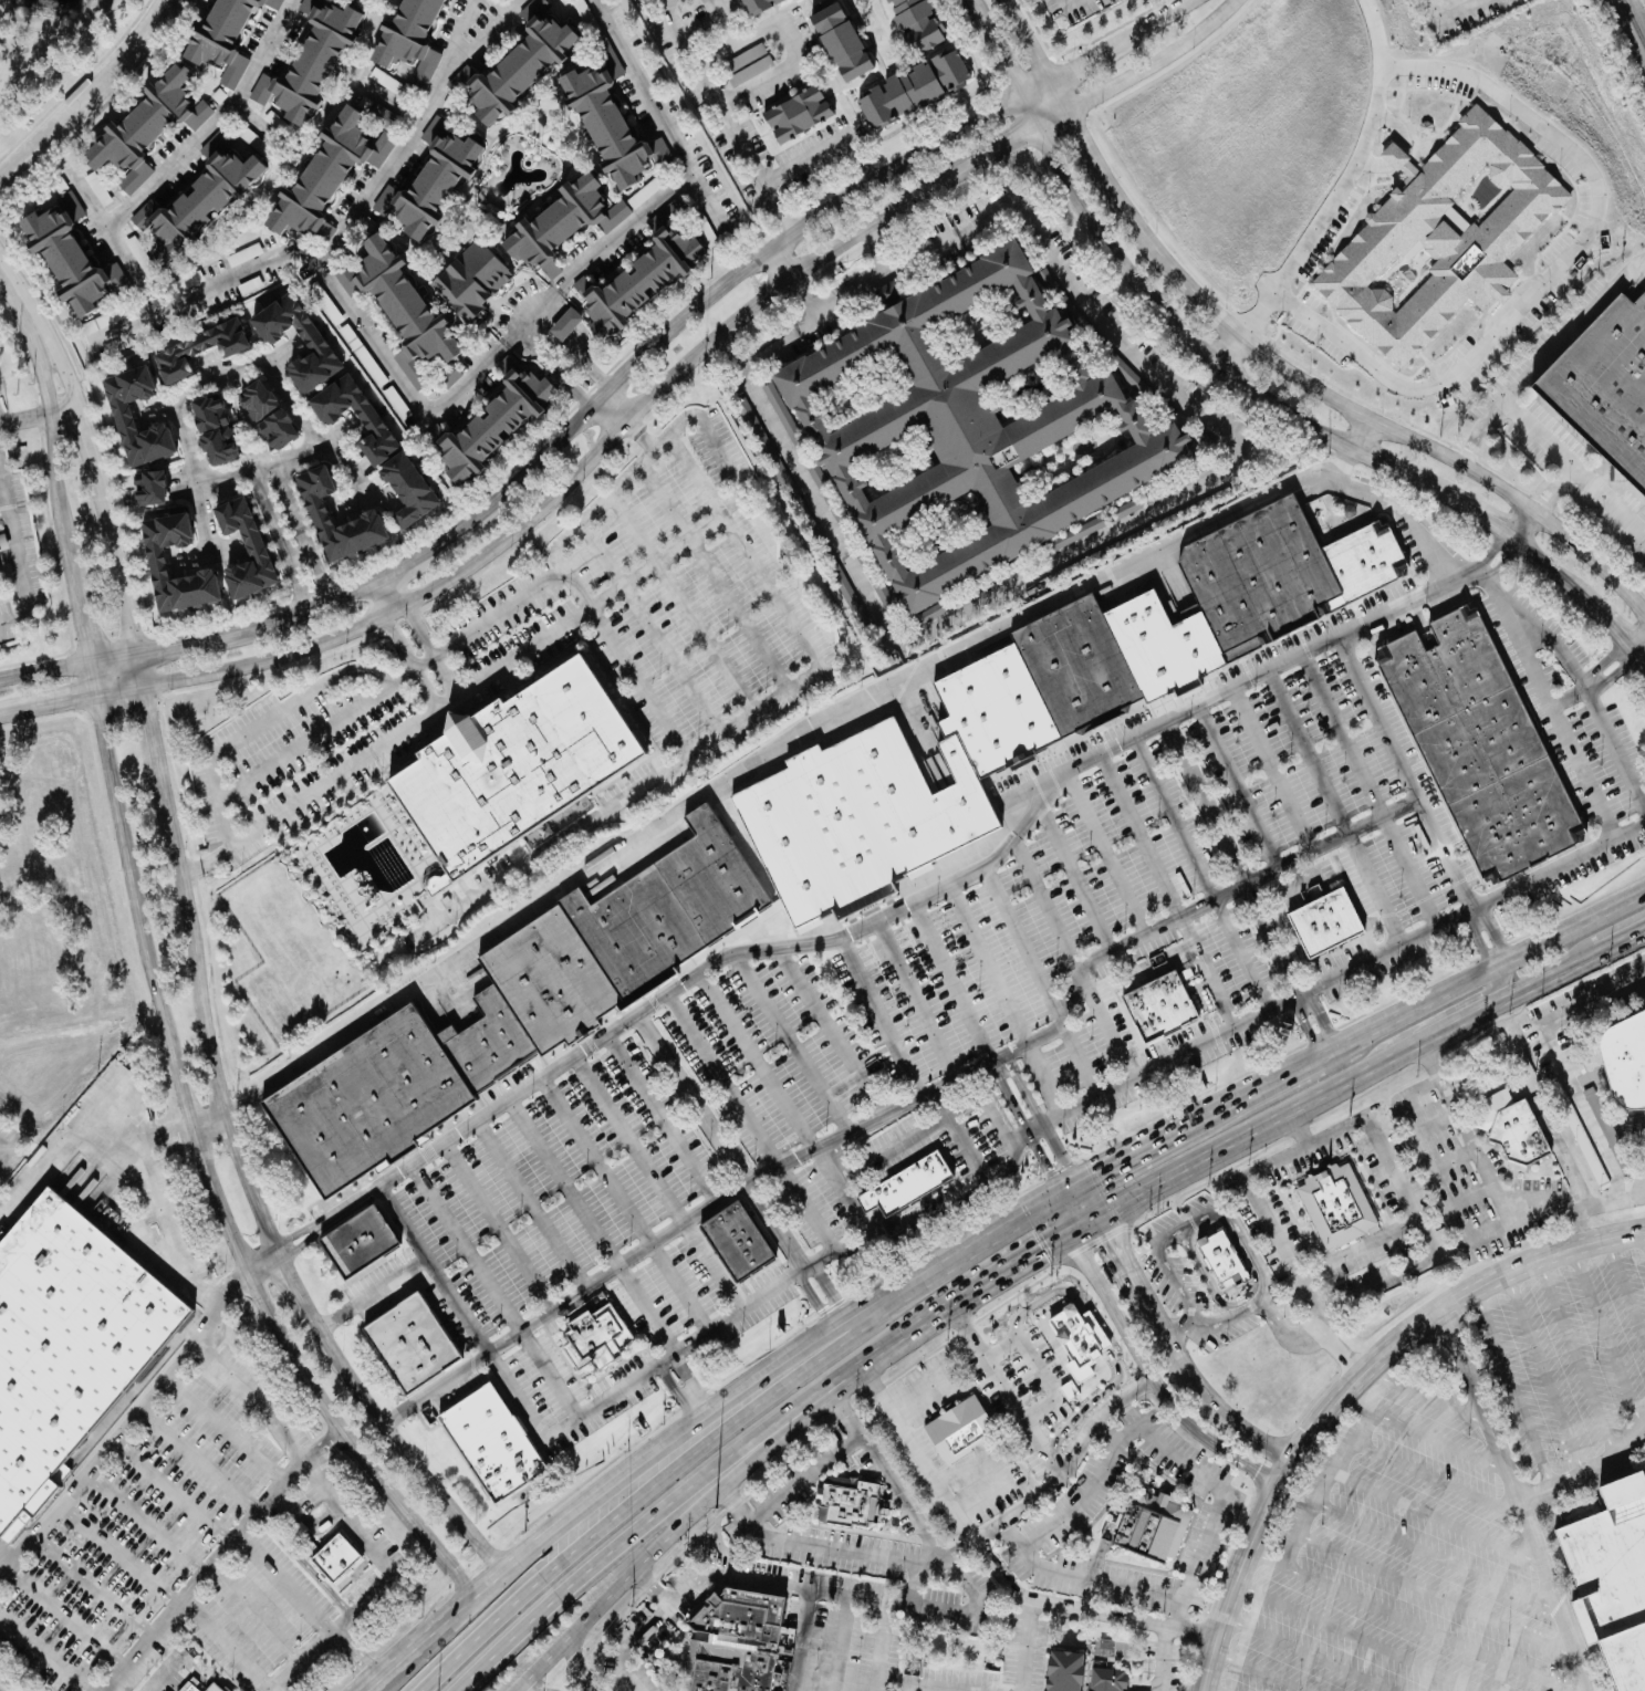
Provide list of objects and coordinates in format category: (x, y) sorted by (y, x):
road: (670, 2)
road: (1071, 3)
building: (759, 6)
road: (1444, 10)
road: (1162, 17)
road: (728, 22)
building: (919, 22)
railway: (1633, 23)
road: (798, 35)
building: (226, 36)
building: (410, 39)
building: (842, 40)
road: (1024, 40)
road: (1154, 62)
building: (518, 64)
road: (1000, 64)
road: (1074, 65)
building: (749, 72)
road: (638, 87)
building: (914, 88)
road: (92, 95)
building: (798, 114)
road: (731, 116)
road: (1048, 121)
building: (147, 127)
building: (611, 127)
road: (1077, 134)
road: (825, 137)
road: (988, 153)
road: (179, 160)
building: (332, 170)
building: (430, 181)
road: (1342, 191)
road: (85, 199)
building: (199, 199)
road: (648, 210)
building: (564, 223)
road: (347, 232)
building: (1439, 236)
road: (923, 249)
building: (71, 257)
road: (1551, 261)
road: (782, 262)
building: (641, 276)
building: (472, 280)
building: (188, 281)
road: (852, 289)
building: (885, 293)
road: (19, 296)
building: (400, 307)
road: (540, 310)
building: (101, 322)
road: (805, 322)
building: (565, 324)
building: (311, 336)
road: (1195, 342)
road: (726, 347)
road: (1230, 348)
building: (199, 349)
road: (281, 352)
road: (1548, 357)
road: (563, 364)
road: (210, 365)
road: (737, 366)
building: (449, 376)
road: (210, 377)
road: (396, 378)
road: (1207, 385)
building: (1605, 386)
building: (258, 400)
road: (157, 409)
building: (122, 413)
road: (40, 414)
building: (369, 417)
road: (1364, 418)
road: (571, 420)
building: (494, 422)
building: (971, 427)
building: (215, 430)
building: (279, 430)
road: (1538, 432)
road: (639, 434)
road: (1360, 436)
road: (330, 446)
road: (52, 458)
road: (1344, 464)
road: (223, 473)
road: (1583, 478)
building: (150, 489)
building: (409, 489)
road: (365, 494)
road: (291, 507)
road: (1466, 509)
road: (1408, 511)
road: (270, 513)
building: (368, 519)
road: (581, 520)
road: (1519, 524)
road: (516, 528)
road: (1642, 532)
road: (1082, 546)
building: (256, 549)
road: (1492, 552)
road: (206, 553)
road: (1529, 554)
road: (299, 555)
road: (15, 557)
road: (659, 557)
building: (156, 560)
road: (321, 577)
road: (299, 584)
building: (0, 591)
road: (1593, 608)
road: (82, 623)
road: (425, 631)
building: (1158, 634)
road: (1638, 643)
road: (403, 645)
road: (1638, 654)
road: (426, 660)
road: (44, 670)
road: (637, 680)
road: (1596, 683)
road: (1592, 685)
road: (781, 692)
road: (268, 714)
road: (1558, 726)
road: (1343, 734)
road: (306, 741)
road: (393, 743)
building: (1479, 745)
road: (1309, 751)
building: (514, 768)
road: (1273, 769)
road: (725, 770)
road: (1405, 773)
road: (1238, 785)
road: (162, 789)
road: (1175, 820)
building: (860, 821)
road: (1142, 836)
road: (1330, 841)
road: (1106, 854)
road: (1231, 858)
road: (1560, 866)
road: (1410, 870)
road: (1076, 878)
road: (958, 880)
road: (1376, 887)
road: (1047, 905)
building: (667, 908)
building: (1324, 923)
road: (1495, 930)
road: (1477, 939)
road: (1630, 941)
road: (1024, 947)
road: (1242, 956)
road: (1101, 957)
road: (1499, 962)
road: (989, 964)
road: (1208, 973)
building: (551, 981)
road: (954, 981)
road: (917, 1001)
building: (1158, 1009)
road: (1480, 1015)
road: (1249, 1017)
road: (1321, 1017)
road: (879, 1019)
road: (1428, 1020)
road: (1106, 1023)
road: (1304, 1024)
road: (831, 1031)
building: (487, 1042)
road: (792, 1042)
road: (1336, 1047)
road: (1562, 1058)
road: (1082, 1060)
road: (757, 1061)
building: (1625, 1063)
road: (1045, 1079)
road: (722, 1081)
road: (1270, 1081)
road: (1323, 1095)
building: (367, 1102)
road: (991, 1110)
road: (1039, 1117)
road: (660, 1118)
road: (1024, 1126)
building: (1511, 1128)
road: (917, 1135)
building: (1643, 1135)
road: (961, 1137)
road: (628, 1139)
road: (721, 1141)
road: (1147, 1144)
road: (595, 1161)
road: (1199, 1161)
road: (207, 1162)
road: (1013, 1162)
road: (857, 1163)
traffic signals: (1047, 1166)
road: (865, 1170)
traffic signals: (1095, 1172)
road: (1486, 1172)
building: (905, 1187)
road: (1068, 1187)
road: (29, 1191)
road: (732, 1191)
road: (843, 1194)
road: (1611, 1198)
road: (868, 1200)
road: (1086, 1200)
road: (529, 1204)
building: (1333, 1208)
road: (179, 1210)
road: (805, 1210)
road: (1065, 1210)
road: (943, 1213)
road: (1211, 1213)
road: (324, 1220)
road: (876, 1223)
road: (1084, 1223)
road: (497, 1227)
road: (591, 1227)
road: (990, 1233)
road: (1643, 1233)
road: (1430, 1236)
road: (889, 1240)
traffic signals: (1112, 1240)
building: (357, 1242)
building: (735, 1242)
road: (465, 1249)
road: (1368, 1249)
road: (841, 1251)
traffic signals: (1038, 1251)
building: (1217, 1256)
road: (908, 1260)
road: (1016, 1263)
road: (433, 1269)
road: (1128, 1271)
road: (1306, 1275)
road: (386, 1283)
road: (824, 1284)
road: (1624, 1286)
road: (679, 1287)
road: (811, 1295)
road: (882, 1303)
road: (737, 1311)
road: (332, 1318)
road: (839, 1319)
road: (1605, 1336)
building: (591, 1337)
road: (1102, 1340)
building: (66, 1344)
building: (410, 1344)
road: (1136, 1351)
road: (1575, 1355)
road: (985, 1356)
building: (1050, 1357)
road: (956, 1363)
road: (860, 1367)
road: (1544, 1371)
road: (546, 1374)
road: (449, 1378)
road: (1343, 1380)
road: (689, 1381)
road: (1513, 1387)
road: (516, 1392)
road: (606, 1393)
road: (1426, 1397)
road: (1212, 1407)
road: (845, 1411)
road: (133, 1412)
road: (397, 1415)
road: (379, 1418)
road: (1071, 1418)
building: (959, 1431)
road: (863, 1437)
road: (1439, 1440)
building: (490, 1443)
road: (197, 1460)
road: (1252, 1468)
road: (1590, 1471)
road: (1328, 1472)
road: (1435, 1478)
road: (969, 1479)
road: (602, 1491)
road: (1522, 1496)
road: (629, 1504)
building: (844, 1504)
road: (1437, 1514)
road: (346, 1515)
building: (1141, 1534)
road: (961, 1552)
road: (1202, 1555)
road: (1438, 1556)
building: (335, 1557)
road: (216, 1558)
road: (603, 1558)
road: (999, 1563)
road: (639, 1566)
building: (1611, 1579)
road: (762, 1582)
road: (655, 1588)
road: (1438, 1597)
road: (309, 1609)
road: (972, 1618)
road: (1406, 1621)
road: (1358, 1637)
building: (739, 1642)
road: (803, 1642)
road: (223, 1645)
road: (839, 1646)
road: (1027, 1647)
building: (1103, 1648)
road: (1308, 1653)
road: (38, 1656)
road: (1160, 1661)
road: (579, 1668)
road: (1260, 1670)
building: (1080, 1673)
building: (212, 1688)
road: (376, 1688)
road: (939, 1688)
building: (191, 1689)
road: (1209, 1689)

